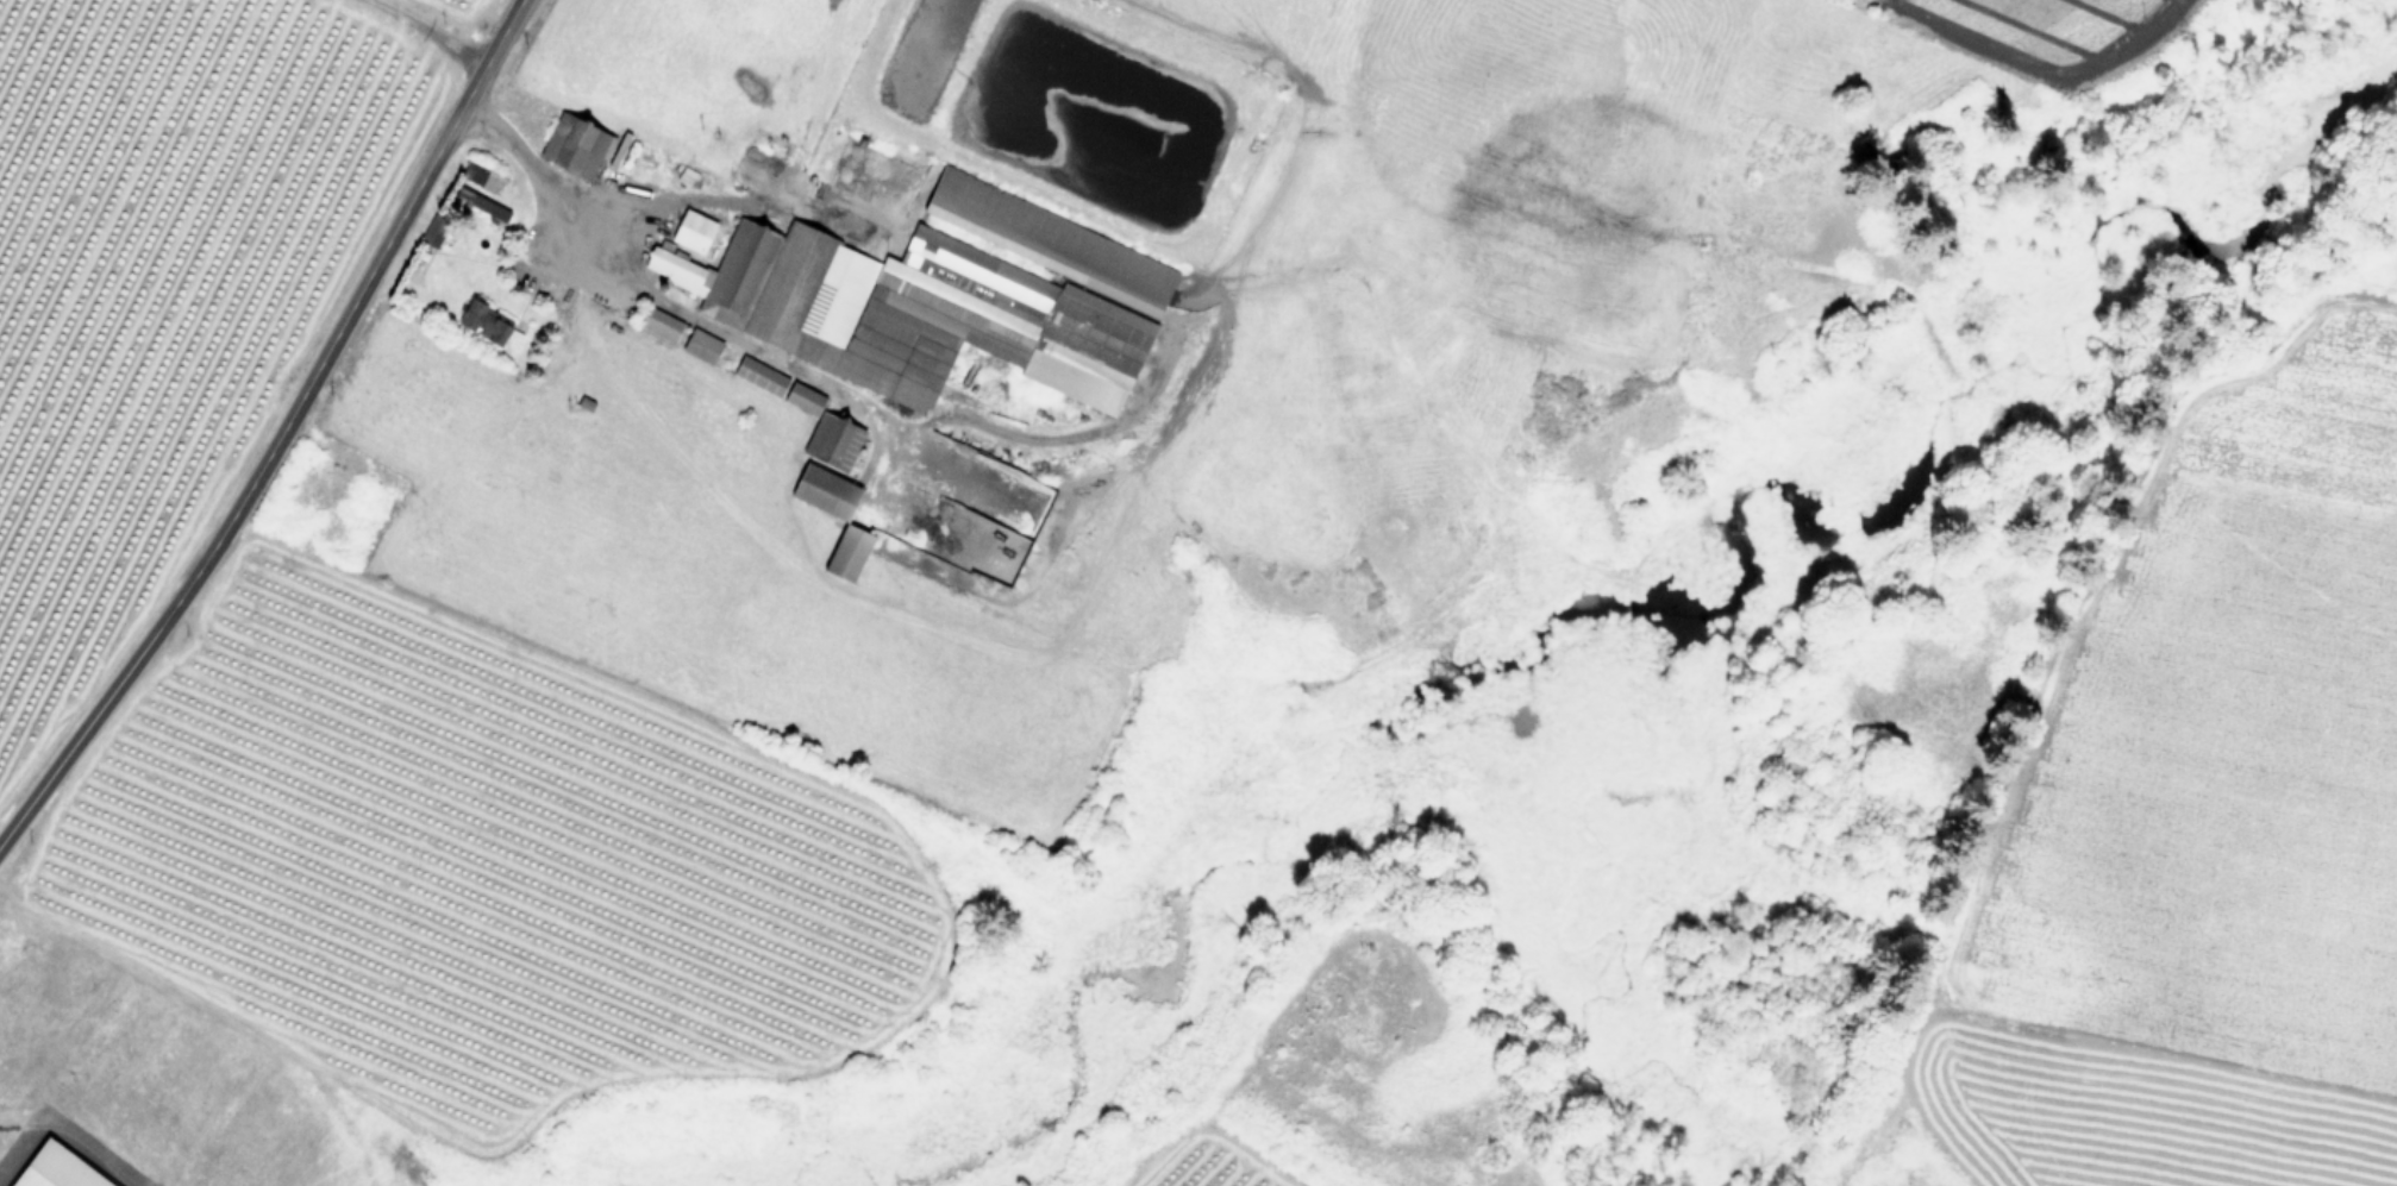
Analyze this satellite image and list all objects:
crop: (2052, 32)
building: (576, 143)
building: (482, 175)
building: (481, 203)
building: (693, 231)
building: (434, 237)
crop: (157, 271)
road: (659, 295)
building: (940, 297)
building: (482, 321)
building: (659, 324)
building: (700, 345)
building: (777, 384)
road: (280, 434)
building: (833, 440)
building: (364, 494)
building: (843, 520)
crop: (506, 805)
crop: (2178, 820)
building: (14, 967)
building: (0, 1065)
crop: (1337, 1094)
building: (14, 1106)
road: (71, 1138)
road: (23, 1149)
building: (55, 1169)

